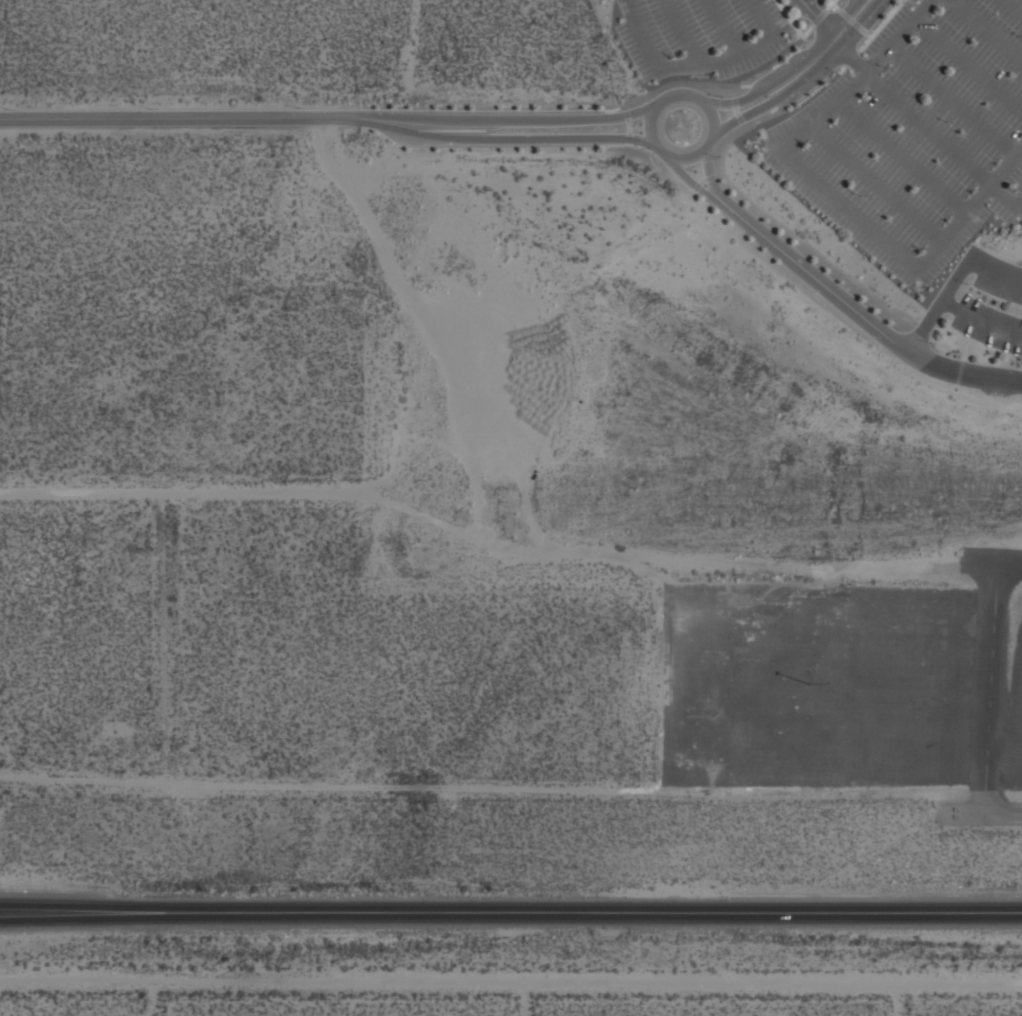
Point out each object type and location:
road: (829, 4)
road: (834, 4)
road: (1014, 6)
road: (759, 15)
road: (789, 17)
road: (819, 17)
road: (819, 18)
road: (851, 18)
road: (852, 20)
road: (724, 25)
road: (878, 25)
road: (987, 30)
road: (807, 31)
road: (681, 32)
road: (643, 34)
parking lot: (703, 34)
road: (868, 34)
road: (743, 48)
road: (848, 54)
road: (851, 57)
road: (969, 63)
road: (687, 64)
road: (842, 68)
road: (857, 77)
road: (676, 82)
road: (772, 83)
road: (745, 85)
road: (781, 95)
road: (696, 98)
road: (952, 100)
road: (733, 101)
road: (611, 109)
road: (736, 109)
road: (625, 111)
road: (739, 117)
road: (180, 119)
road: (511, 120)
road: (628, 125)
parking lot: (916, 134)
road: (629, 137)
road: (940, 138)
road: (507, 139)
road: (901, 155)
road: (709, 175)
road: (710, 178)
road: (702, 181)
road: (876, 181)
road: (693, 185)
road: (694, 186)
road: (1019, 203)
road: (846, 206)
road: (969, 206)
road: (993, 274)
parking lot: (993, 303)
road: (938, 306)
road: (864, 318)
road: (980, 321)
parking lot: (910, 666)
road: (989, 674)
road: (1003, 813)
road: (87, 910)
road: (598, 911)
road: (87, 915)

